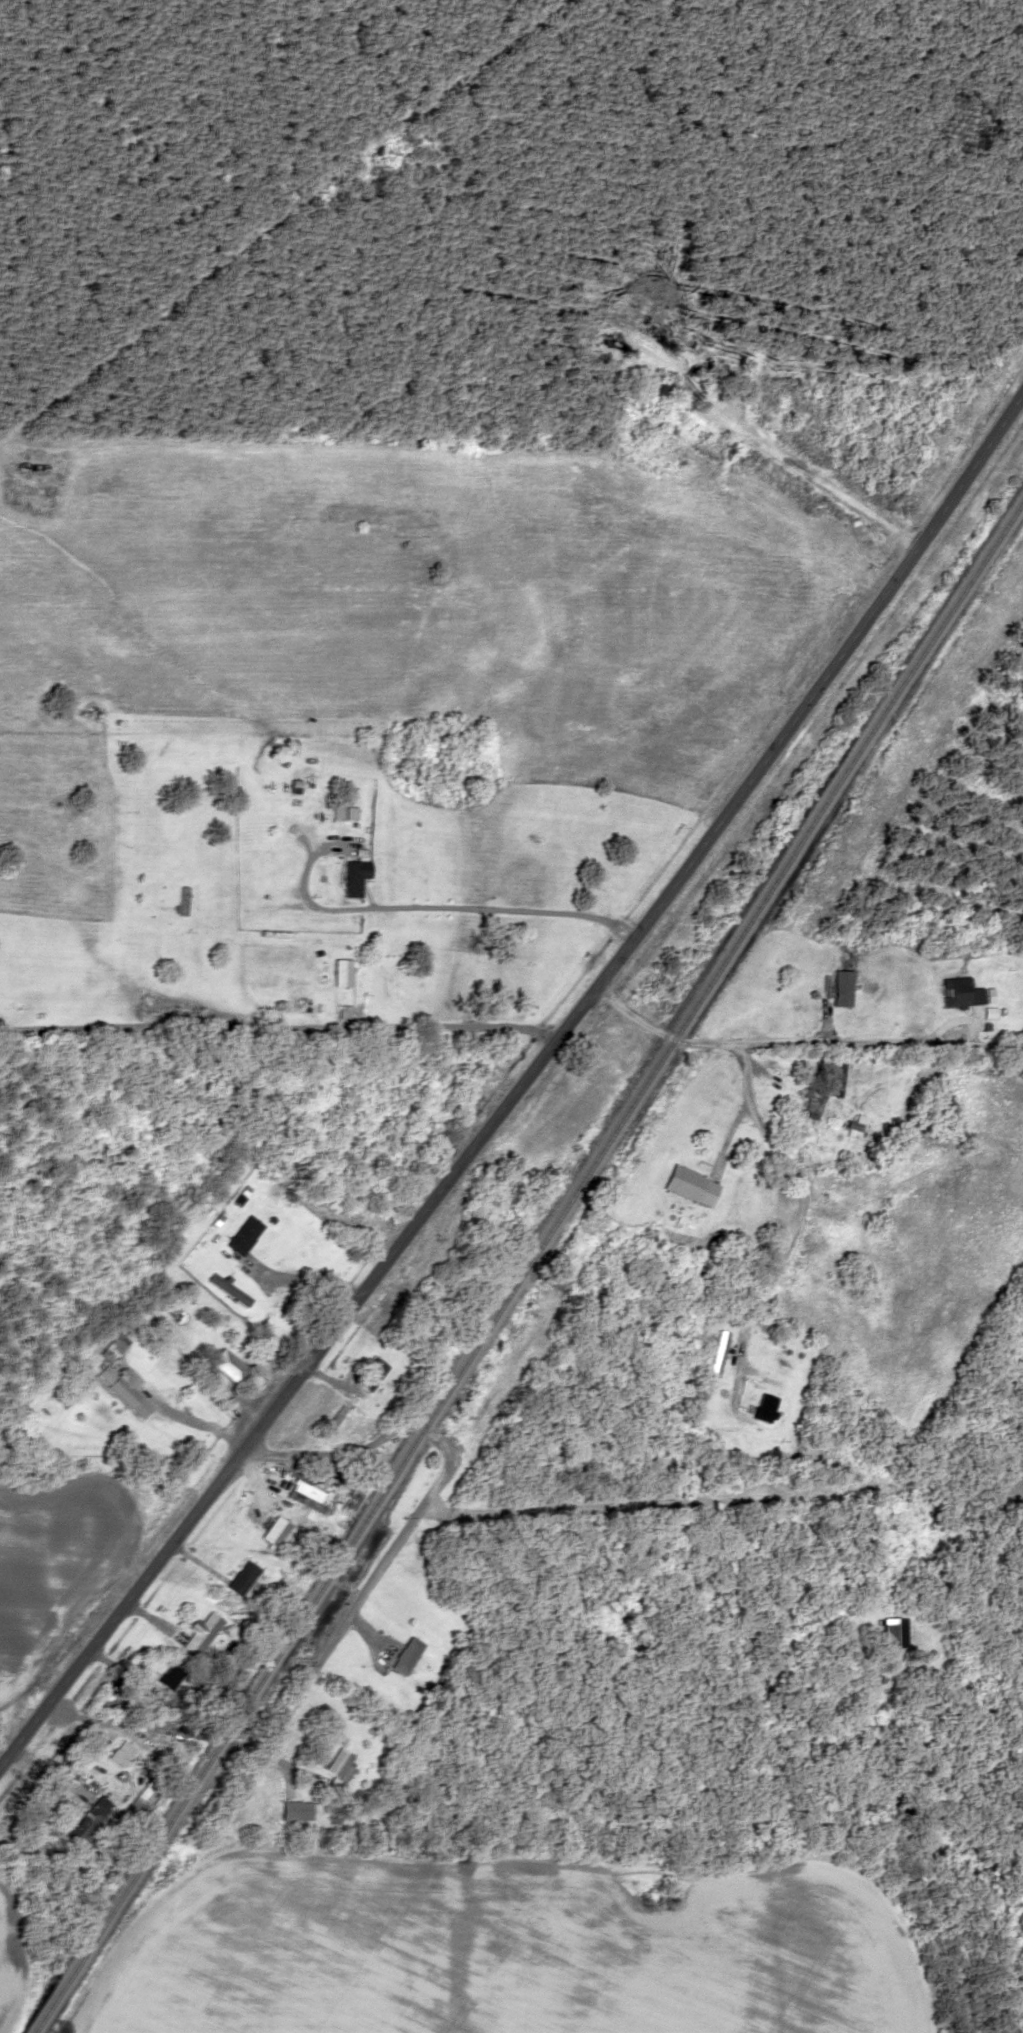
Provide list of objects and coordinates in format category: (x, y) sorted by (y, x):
building: (656, 392)
building: (28, 466)
road: (814, 693)
building: (338, 811)
building: (354, 876)
building: (181, 900)
building: (340, 972)
building: (841, 987)
building: (955, 991)
road: (800, 1039)
building: (836, 1075)
building: (809, 1103)
building: (690, 1185)
building: (243, 1234)
railway: (526, 1262)
building: (228, 1289)
building: (716, 1353)
building: (227, 1366)
building: (371, 1373)
road: (295, 1375)
building: (122, 1389)
building: (763, 1407)
building: (333, 1418)
building: (303, 1500)
road: (422, 1503)
building: (272, 1530)
building: (239, 1577)
building: (903, 1631)
building: (199, 1633)
building: (405, 1655)
building: (168, 1676)
building: (119, 1753)
building: (337, 1769)
building: (133, 1808)
building: (294, 1810)
building: (88, 1824)

